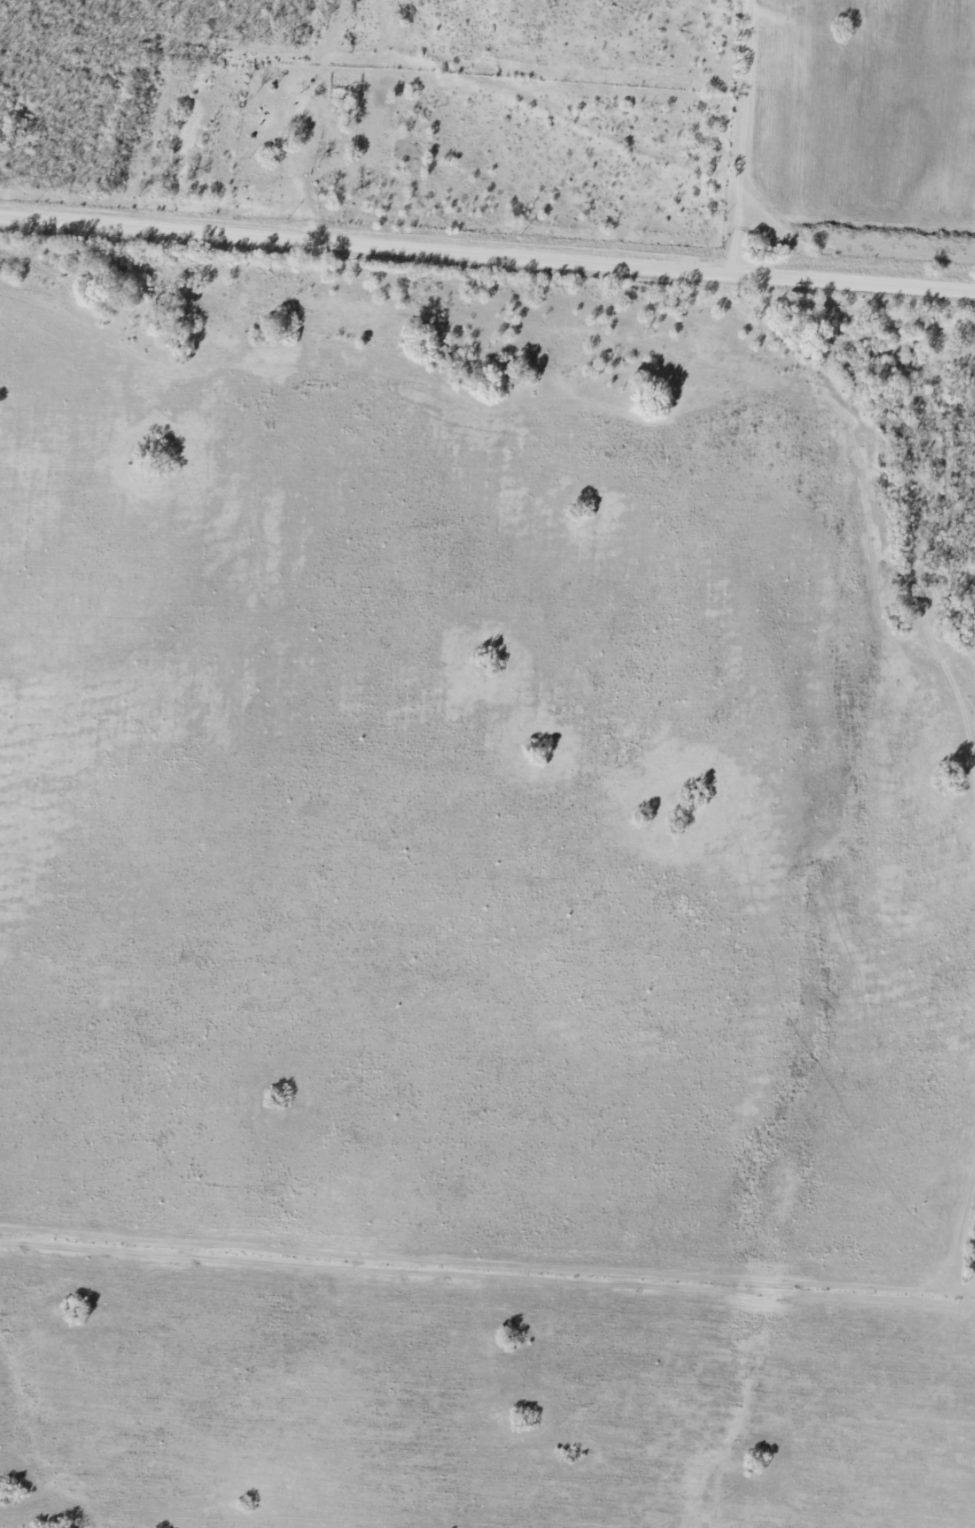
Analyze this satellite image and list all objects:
road: (740, 132)
road: (487, 249)

